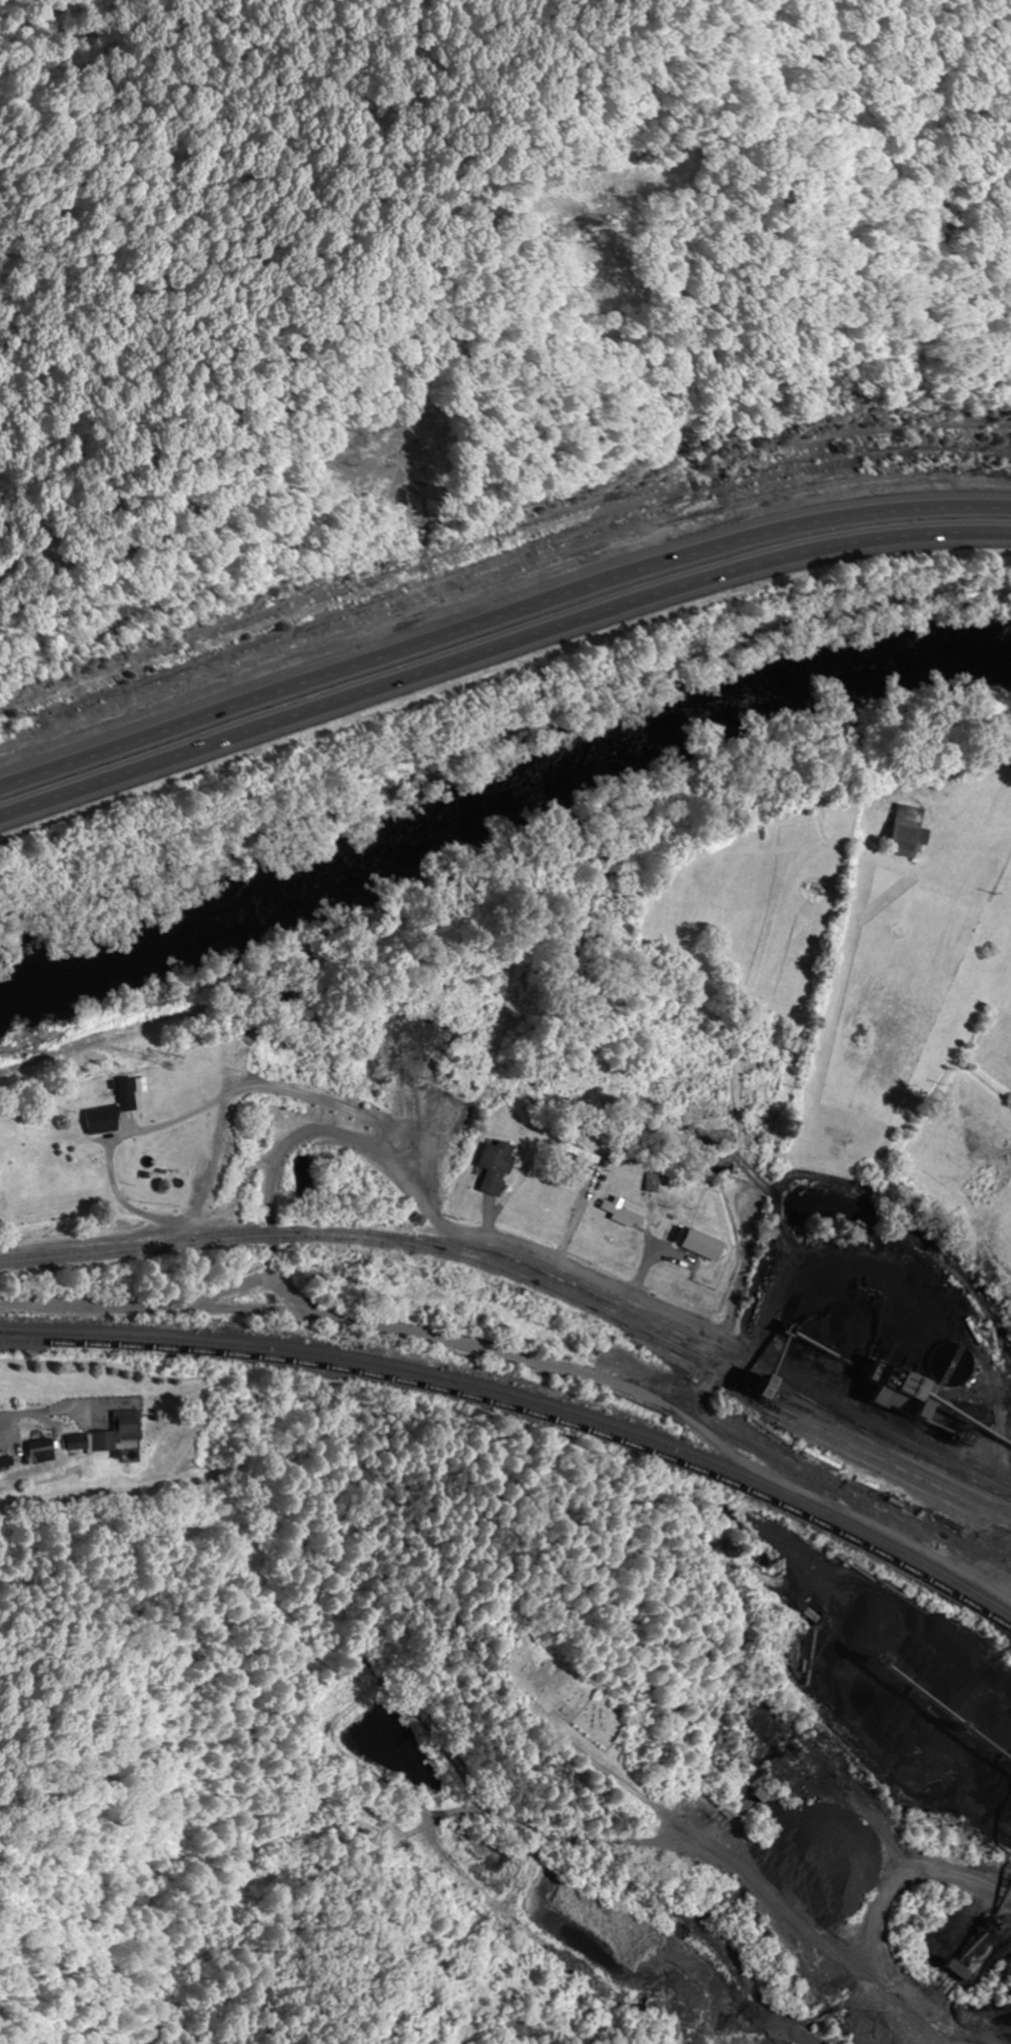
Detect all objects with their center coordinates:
road: (499, 619)
road: (499, 652)
river: (503, 817)
building: (906, 831)
building: (129, 1093)
road: (749, 1095)
building: (101, 1121)
building: (585, 1157)
building: (496, 1167)
building: (170, 1174)
building: (651, 1184)
building: (622, 1214)
road: (196, 1232)
building: (703, 1246)
road: (602, 1278)
road: (251, 1283)
railway: (521, 1310)
road: (530, 1361)
road: (10, 1418)
railway: (523, 1424)
building: (114, 1435)
building: (45, 1452)
road: (891, 1954)
road: (974, 1963)
road: (947, 2023)

